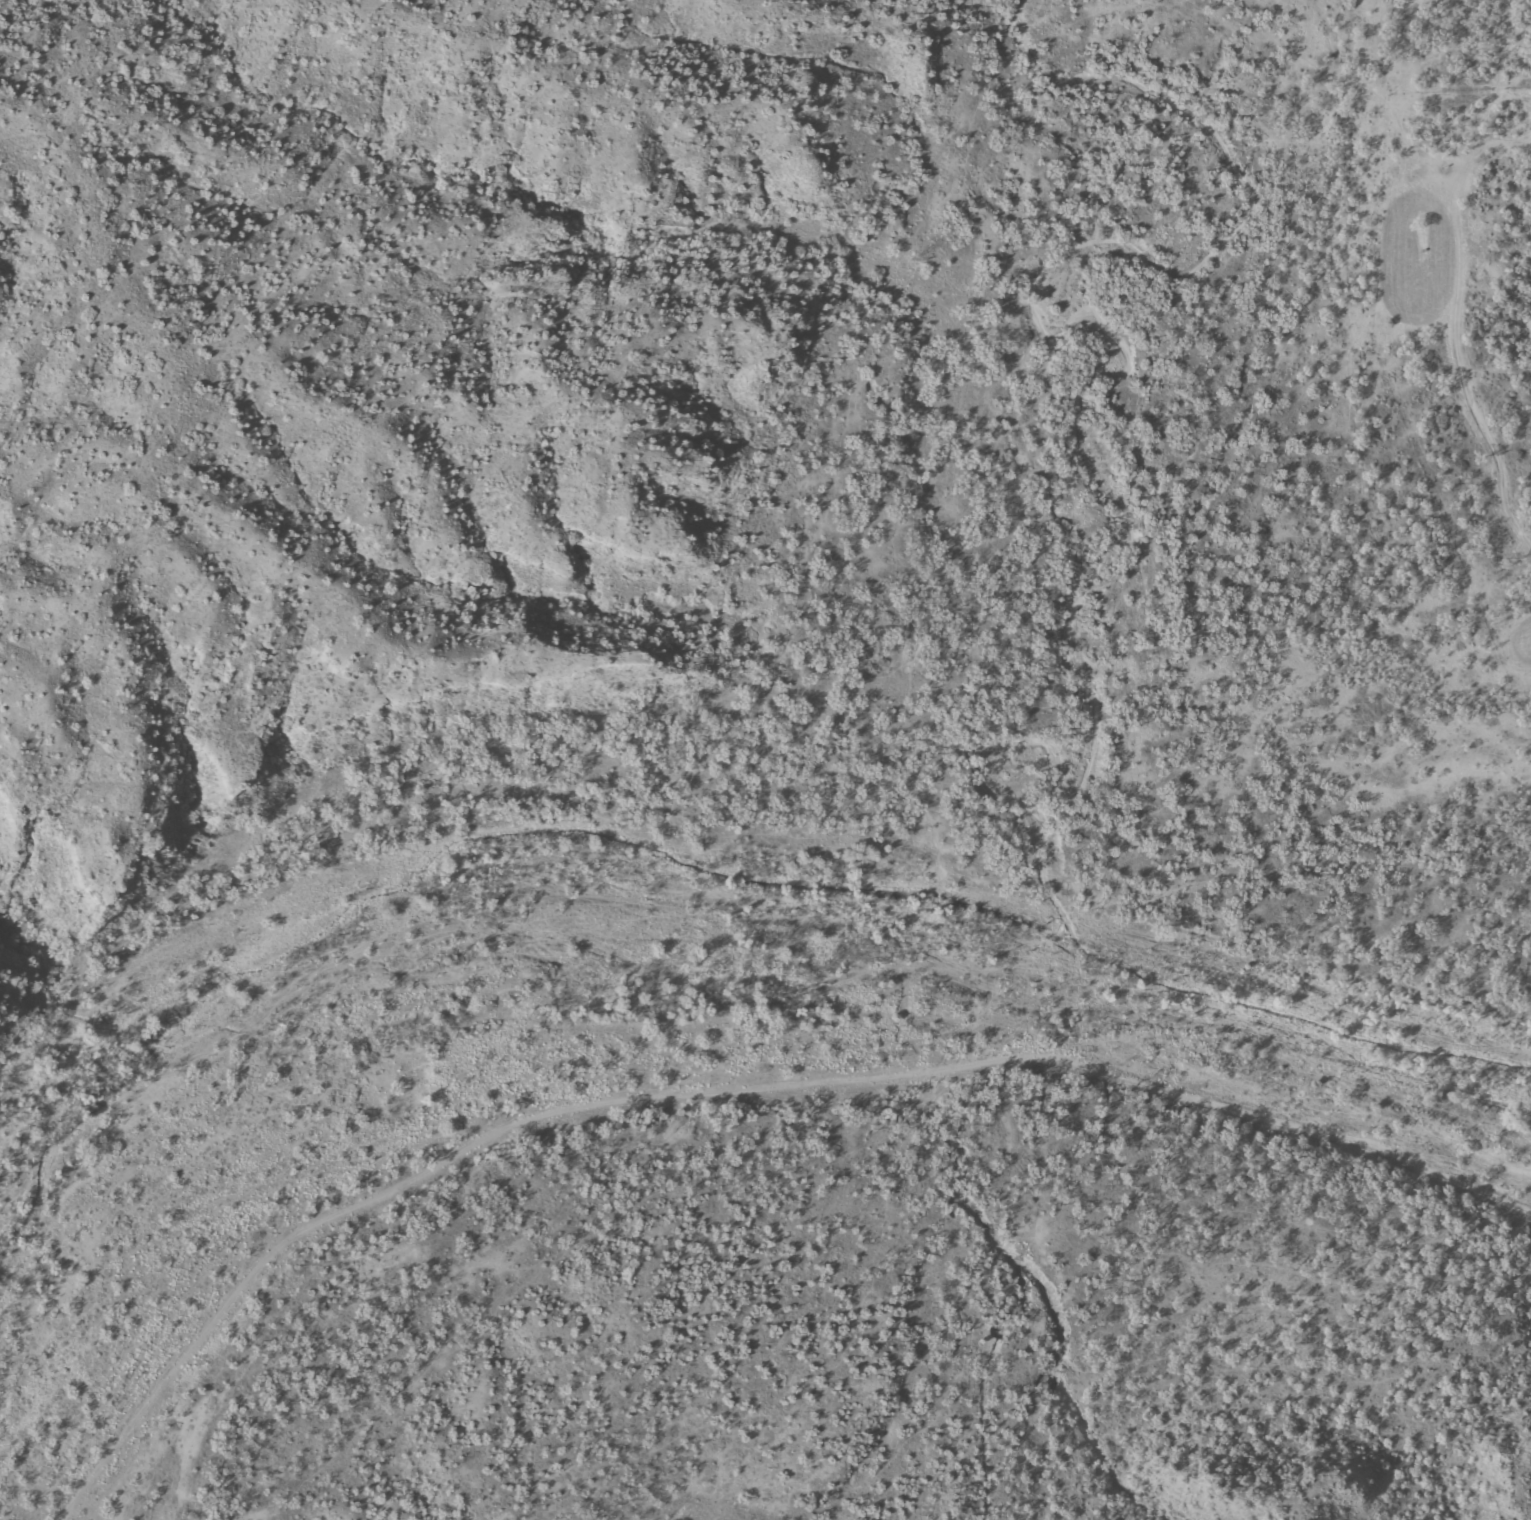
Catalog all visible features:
road: (1464, 348)
road: (759, 1098)

